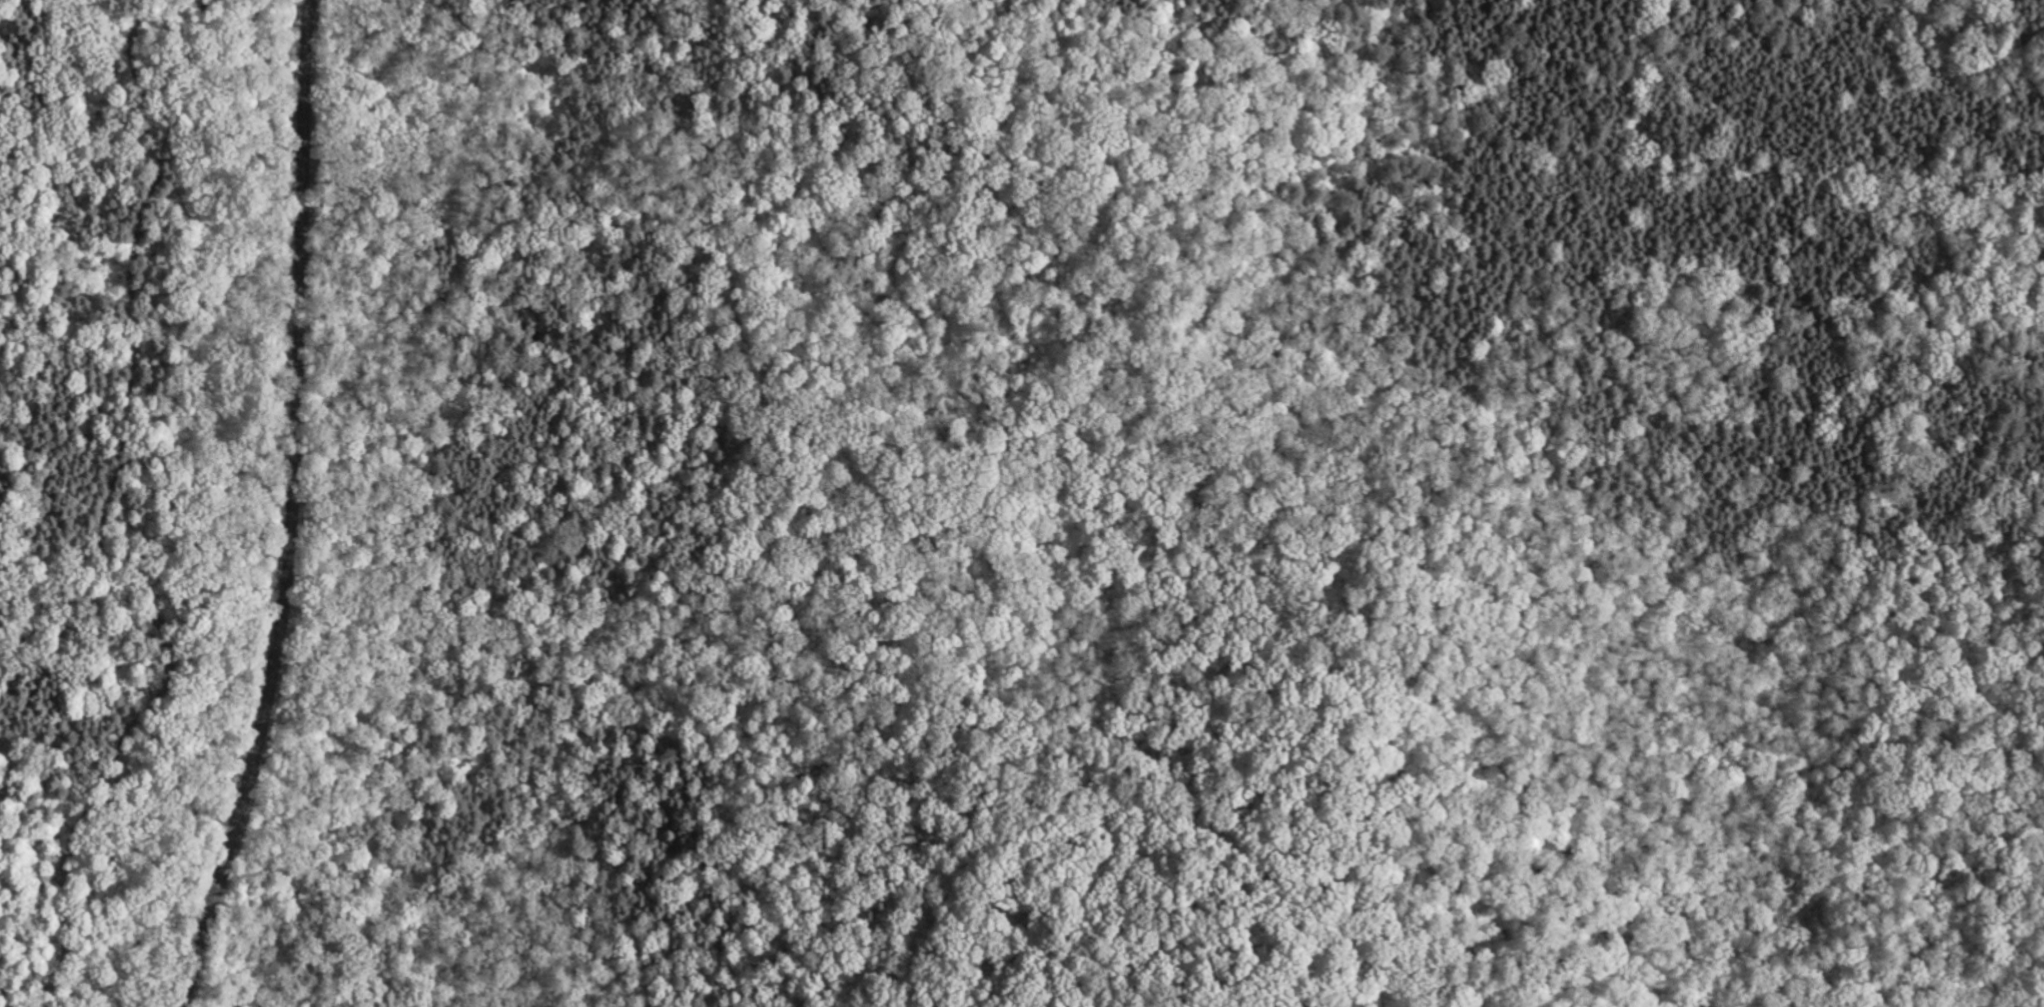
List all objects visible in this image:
road: (305, 108)
road: (105, 529)
road: (281, 618)

